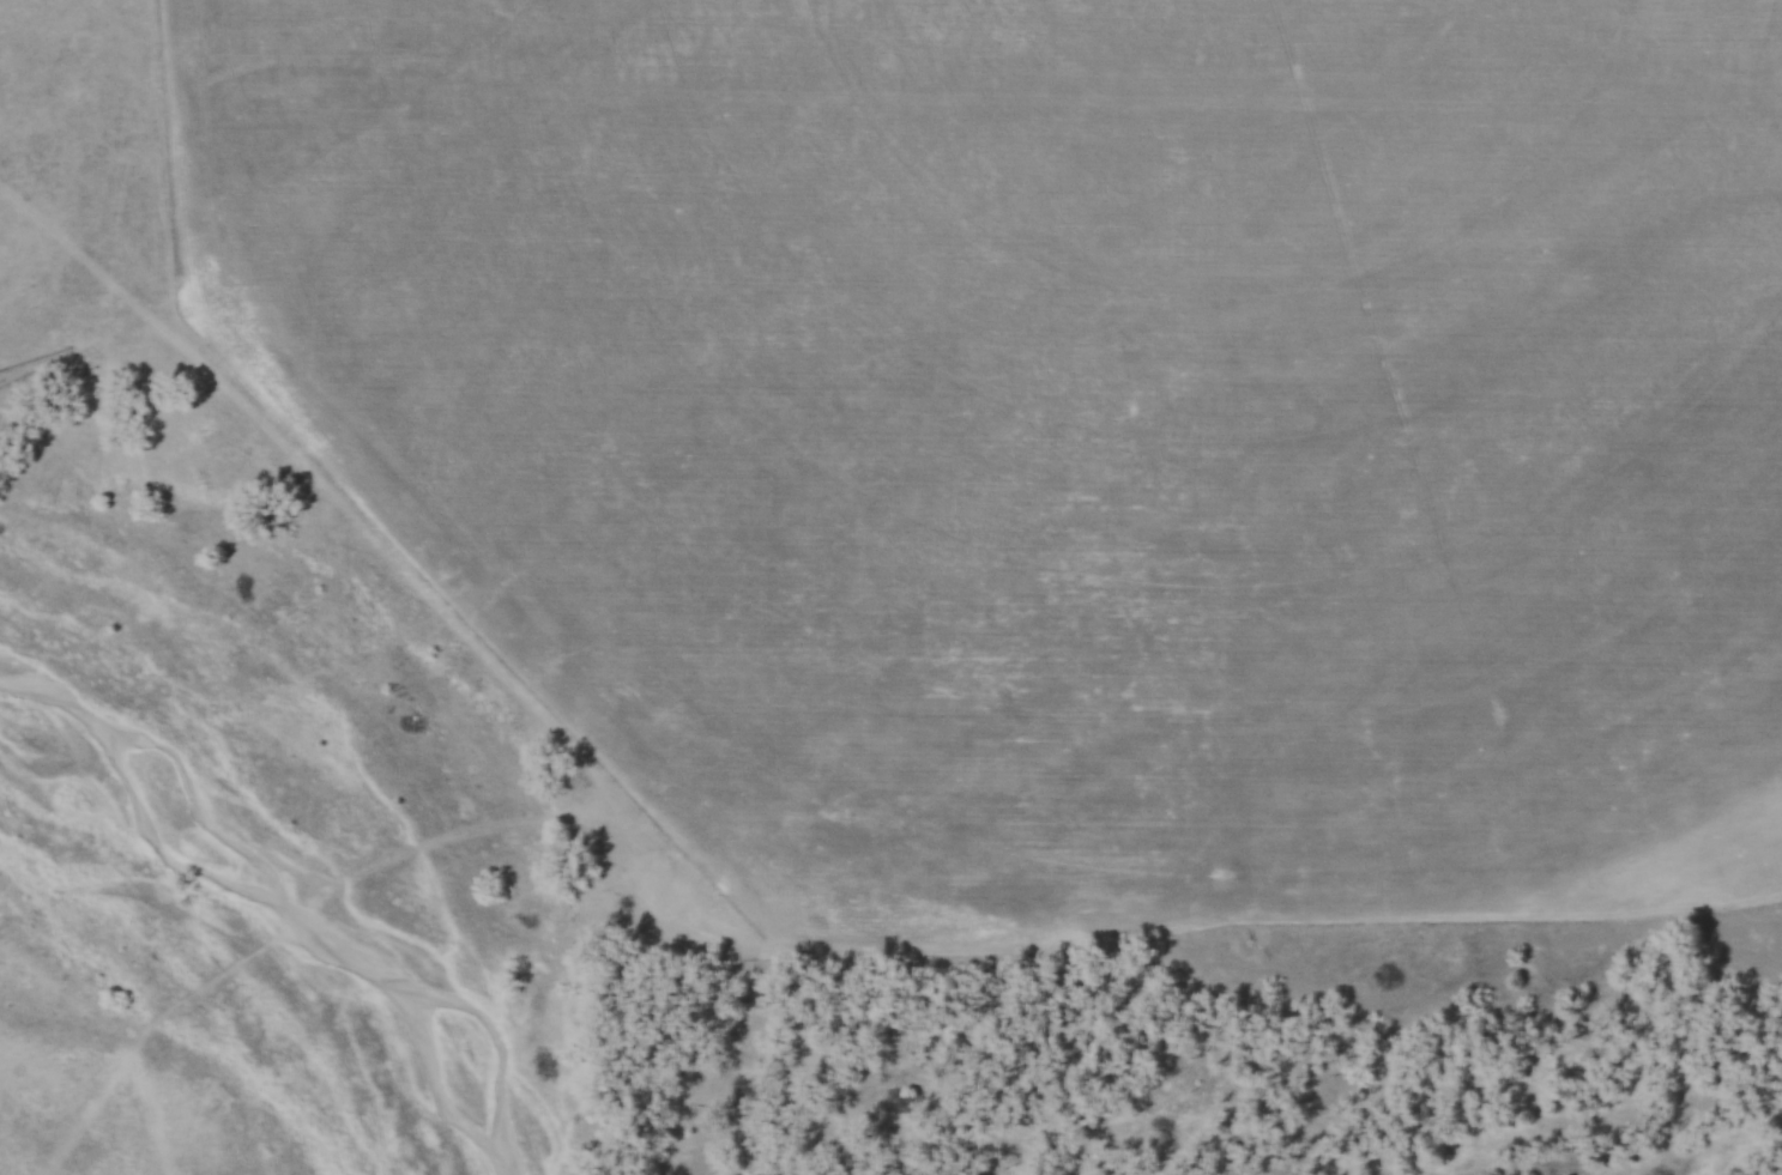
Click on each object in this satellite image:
river: (271, 908)
road: (1120, 928)

